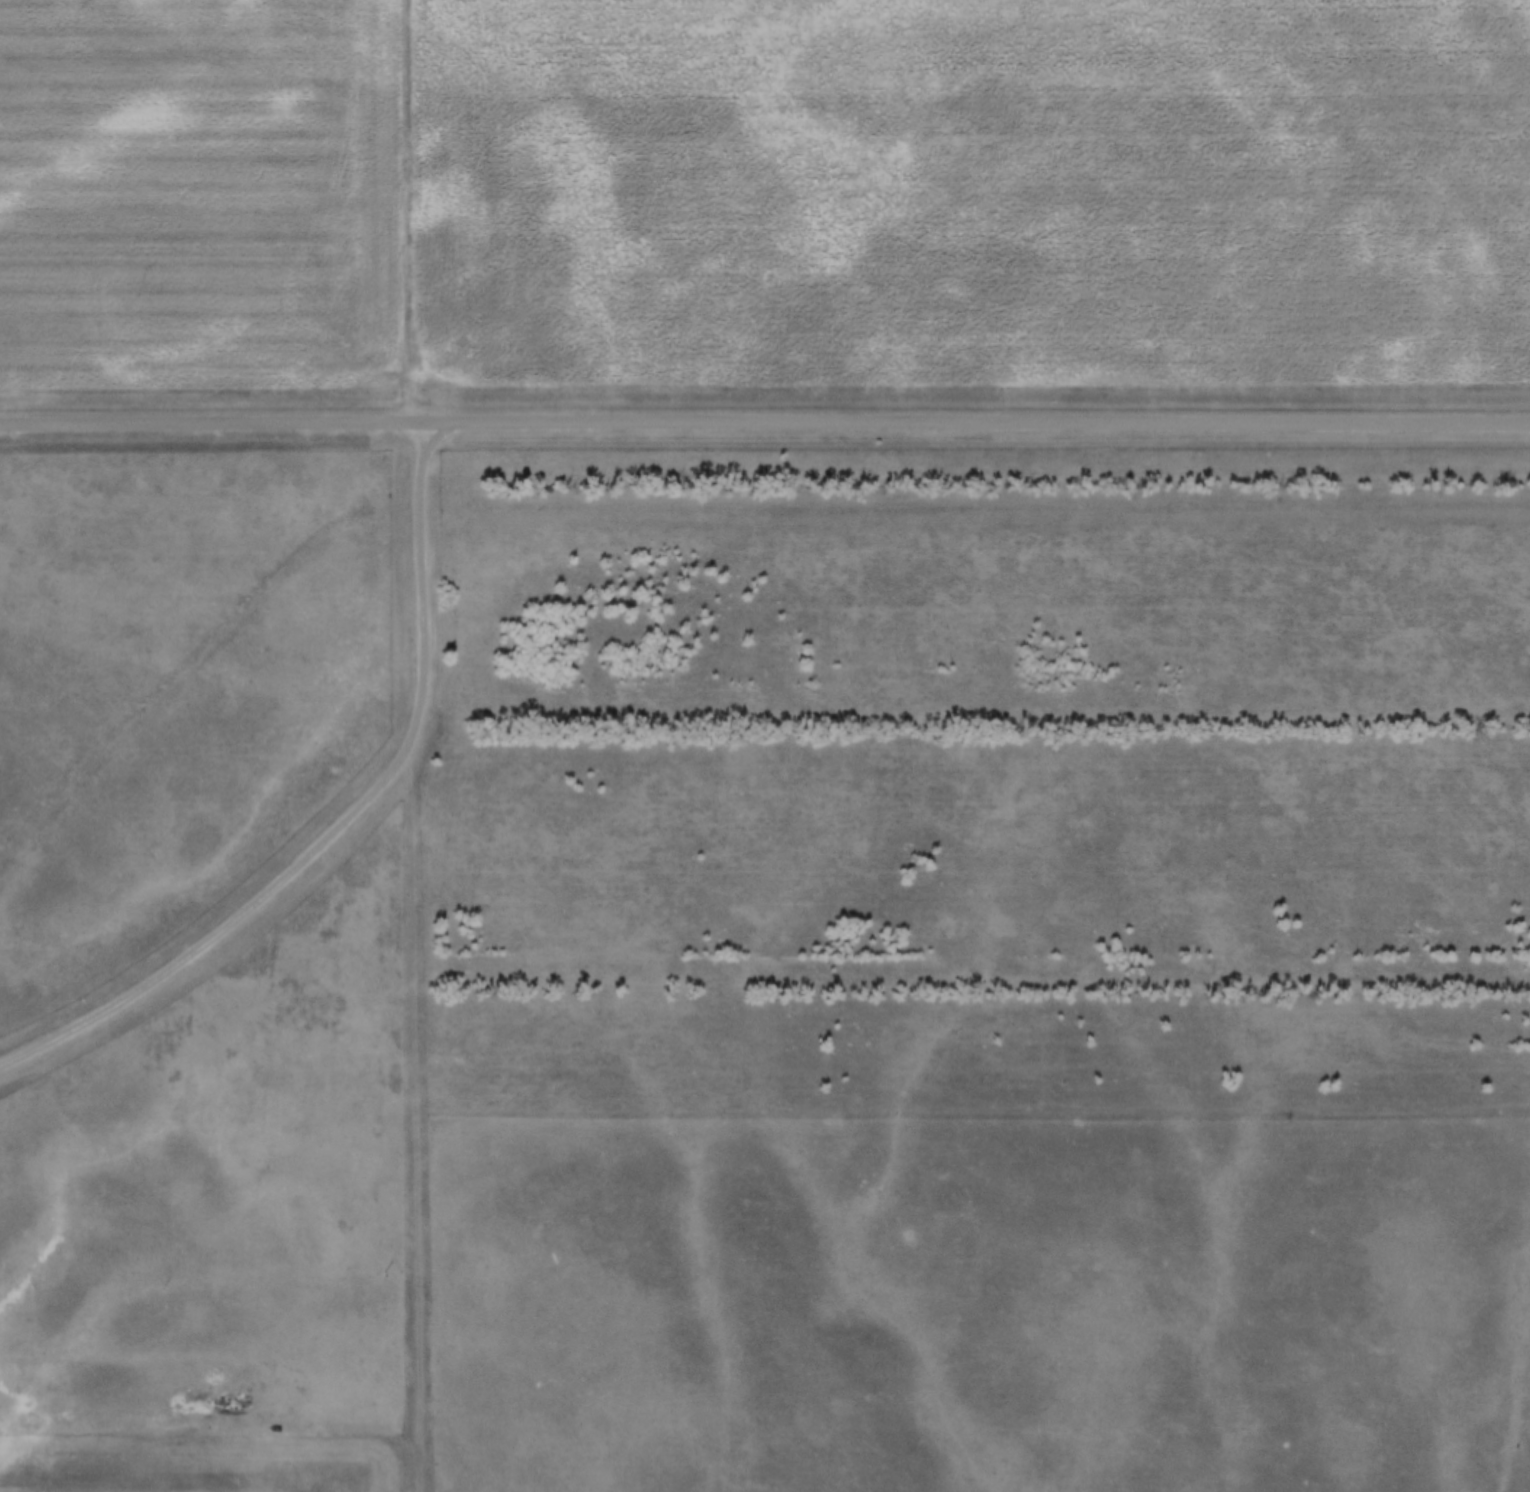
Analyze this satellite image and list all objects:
road: (422, 212)
road: (764, 424)
road: (424, 574)
road: (237, 927)
road: (111, 1362)
road: (764, 1416)

